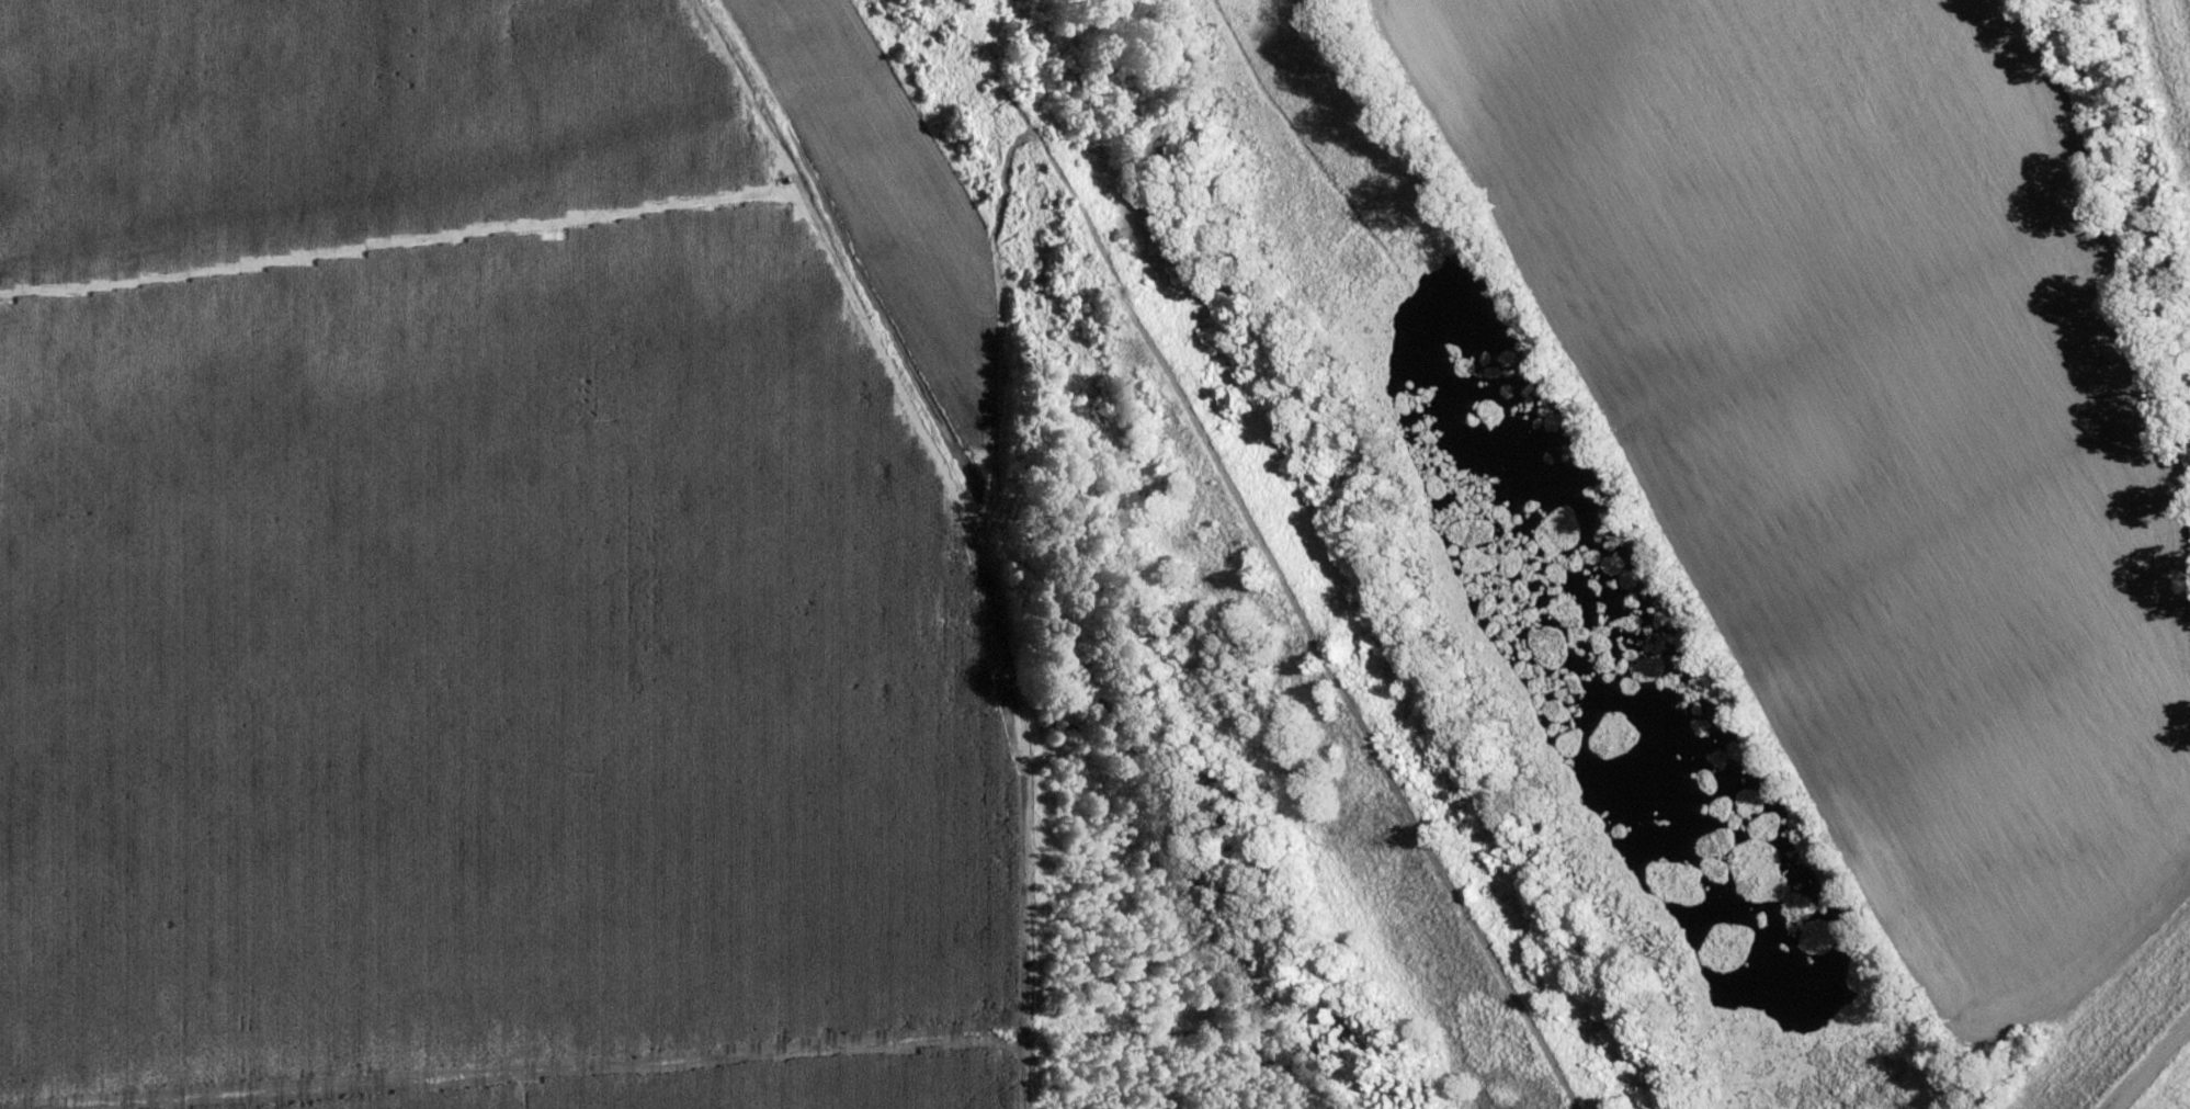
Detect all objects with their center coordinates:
road: (1011, 534)
road: (2152, 1066)

